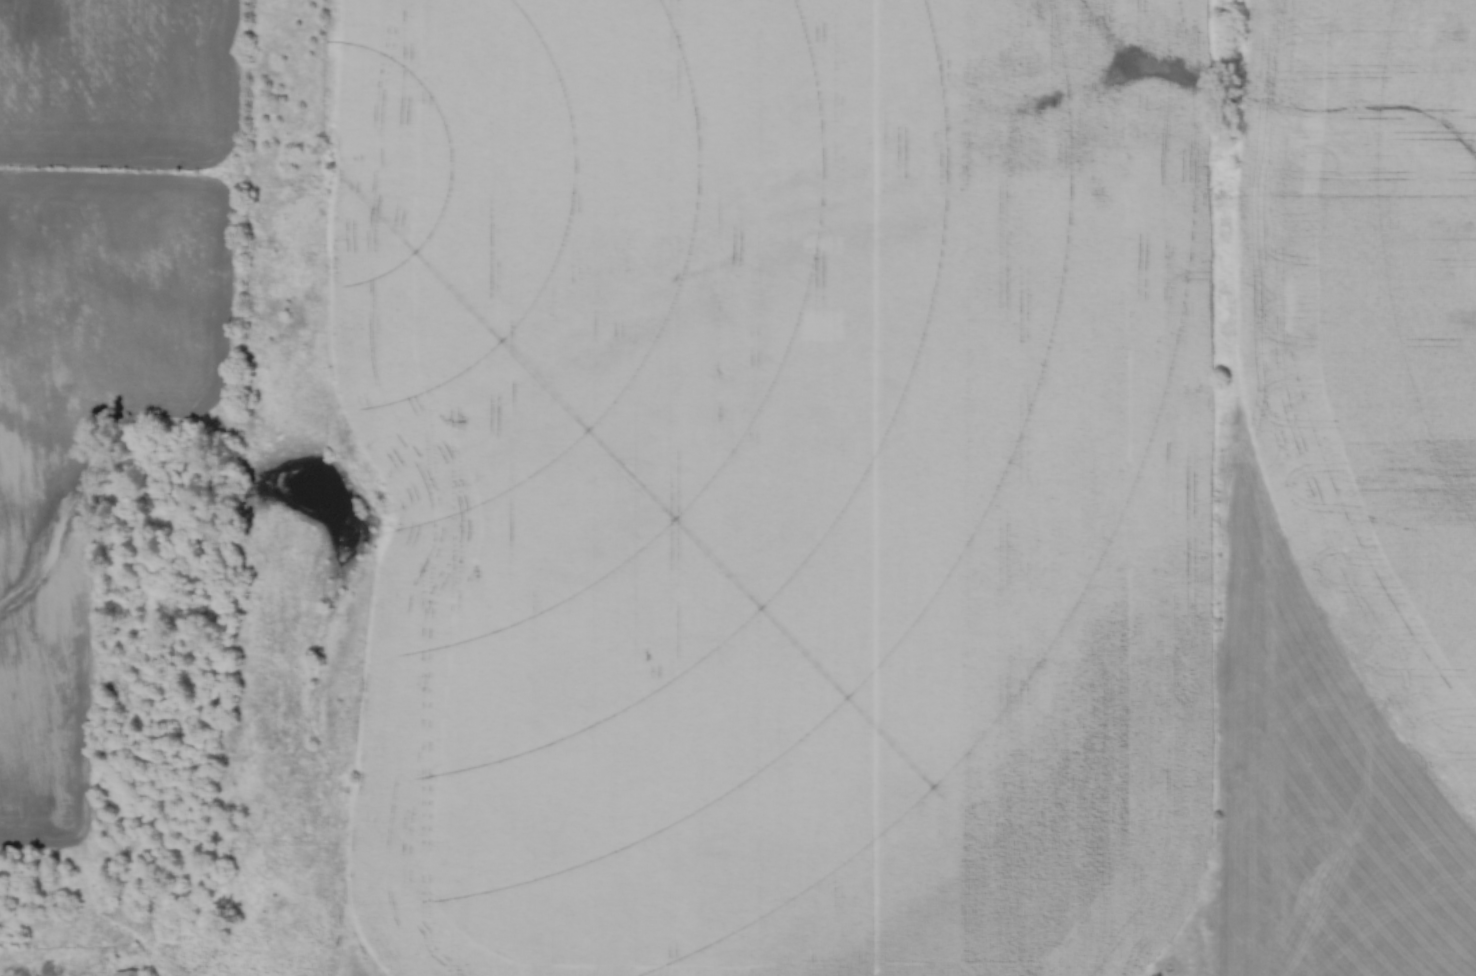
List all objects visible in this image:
building: (131, 972)

